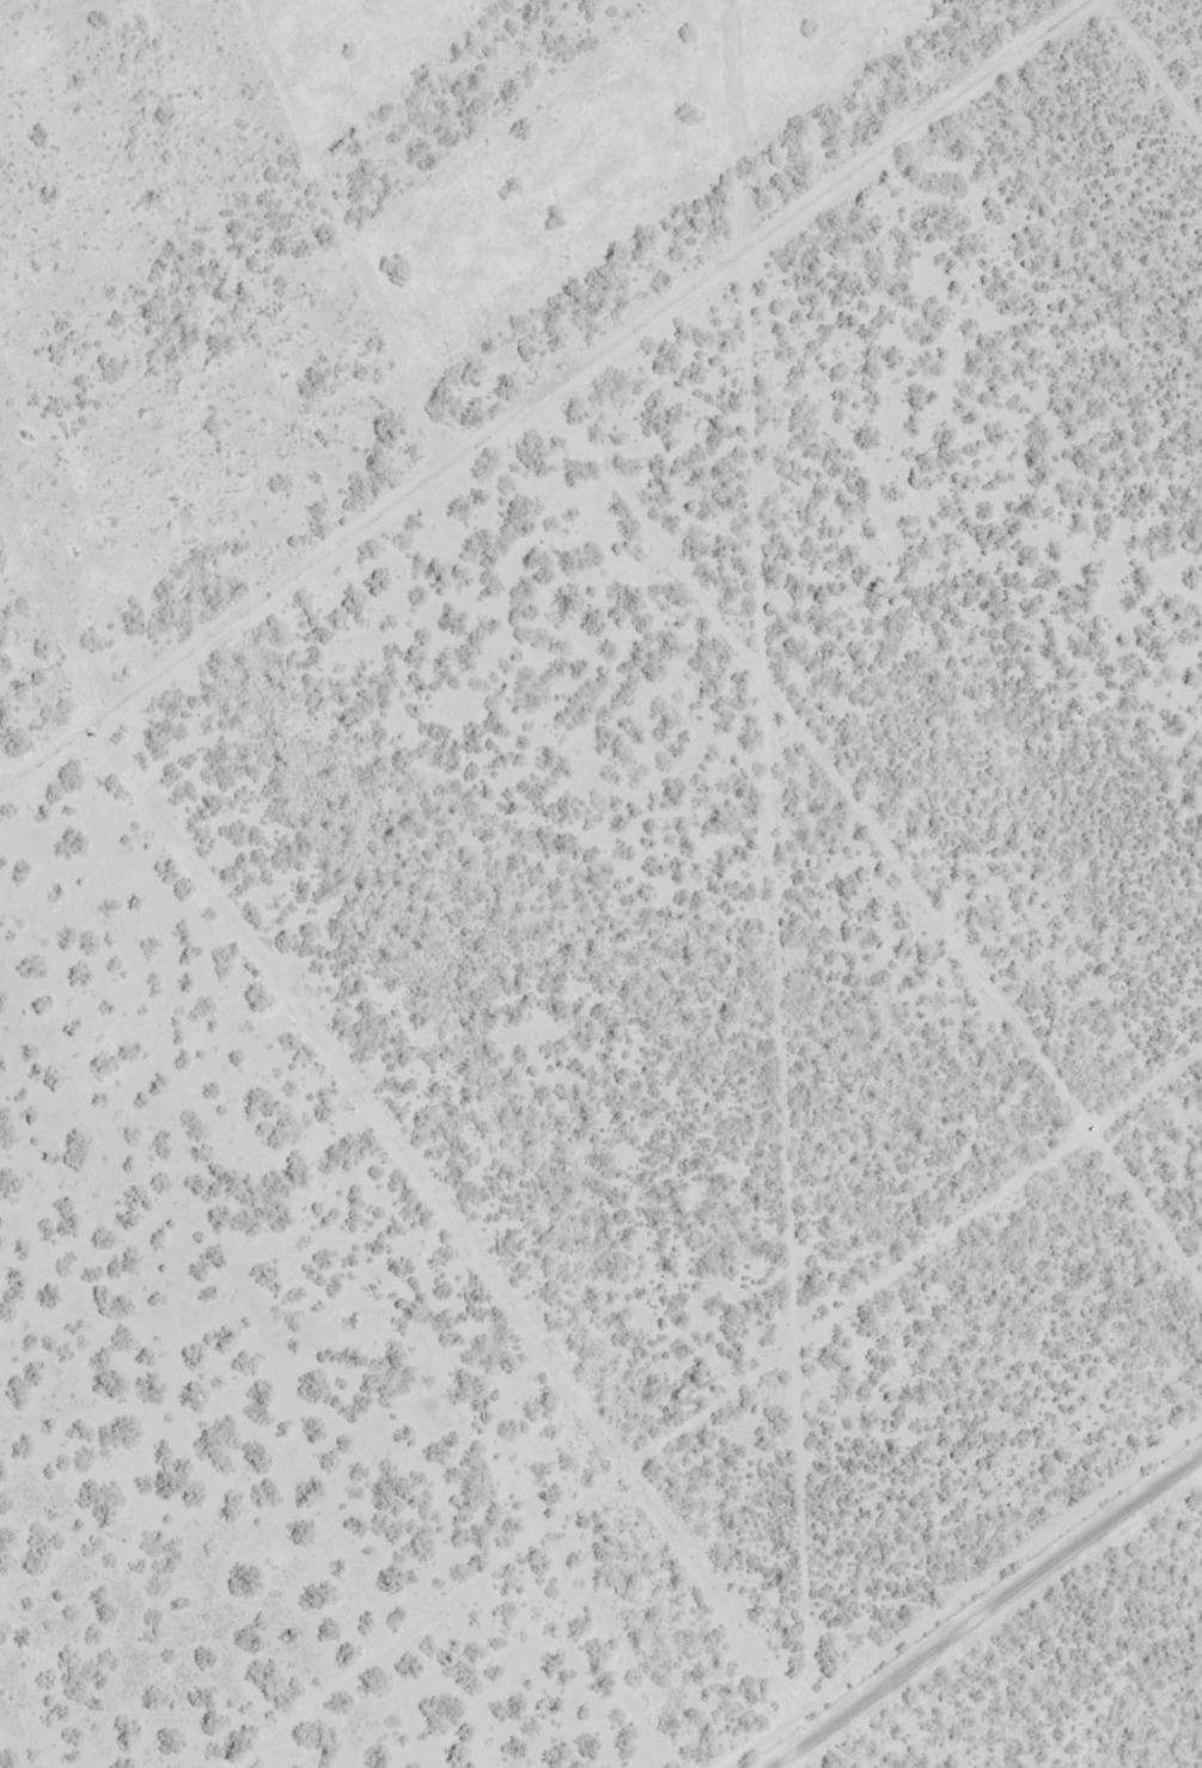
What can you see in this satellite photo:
road: (1017, 1629)

